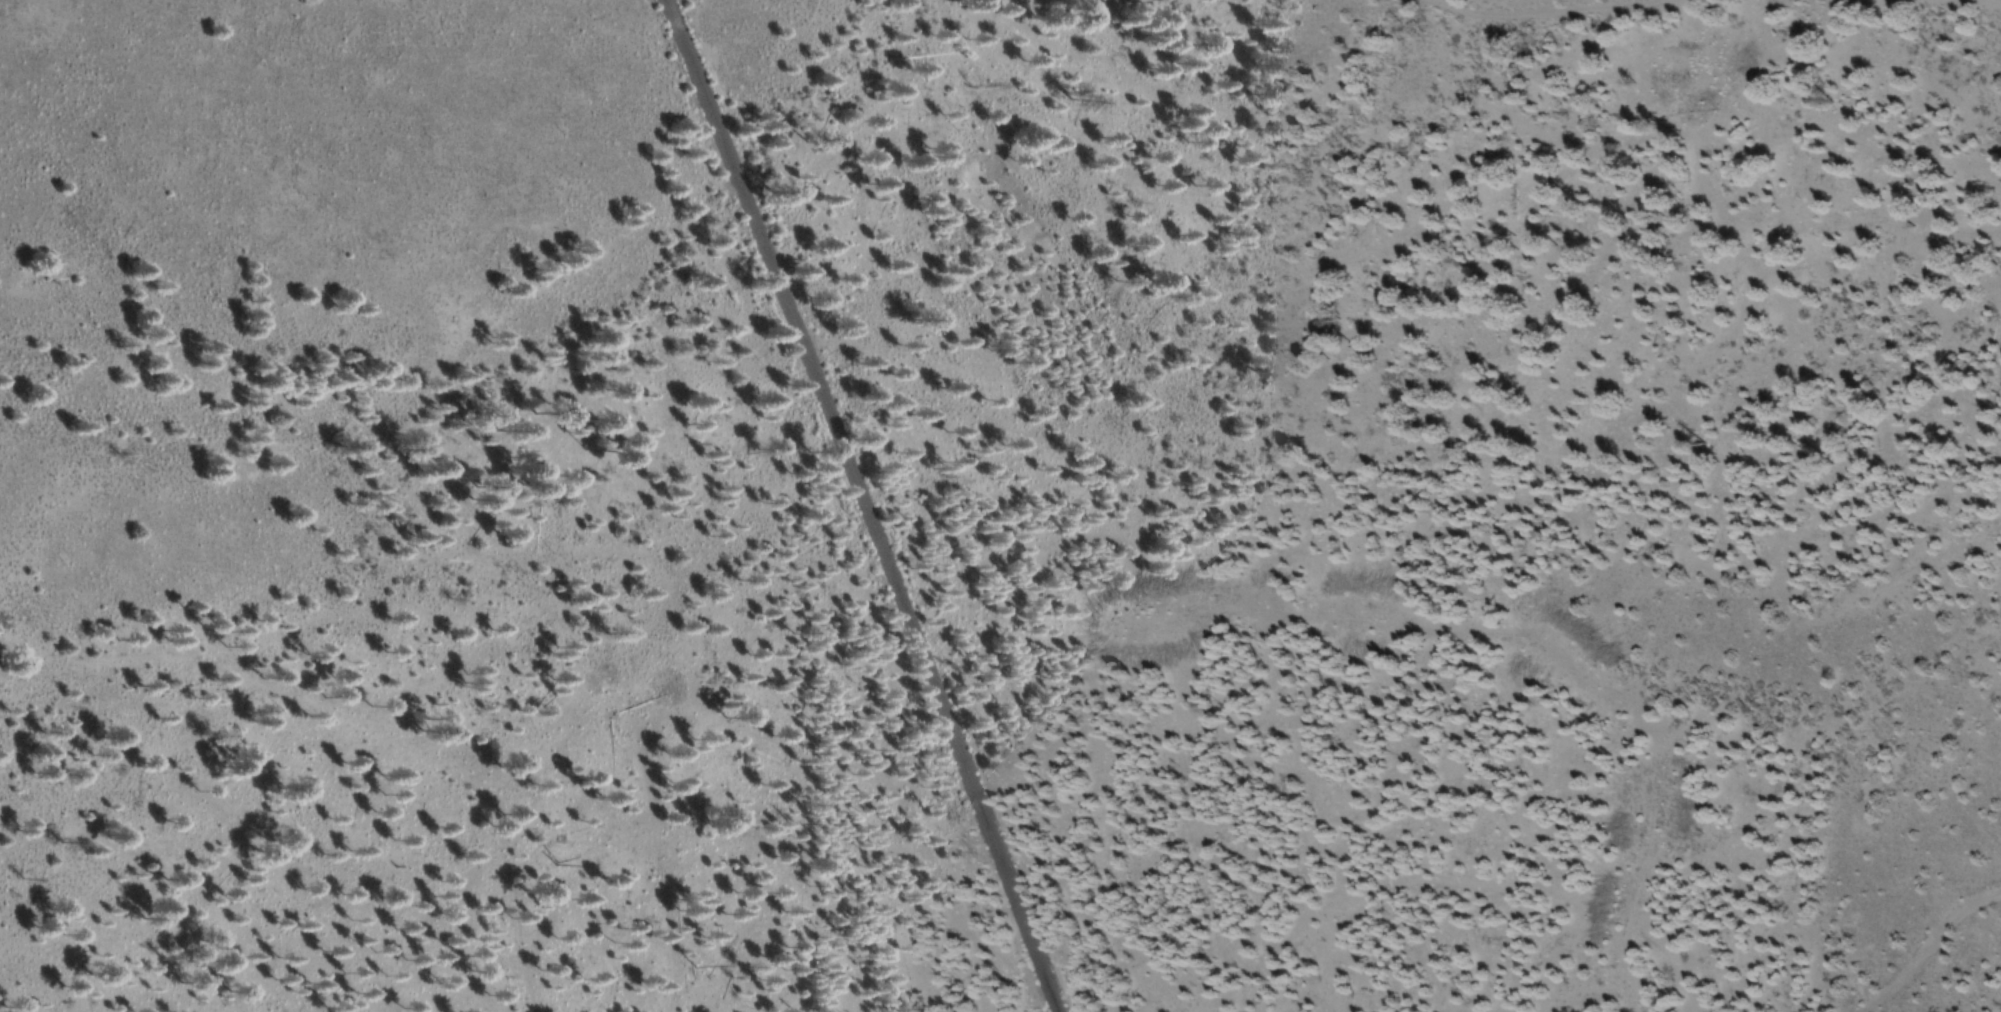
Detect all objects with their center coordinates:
road: (1974, 3)
road: (1536, 22)
road: (868, 504)
road: (1927, 950)

